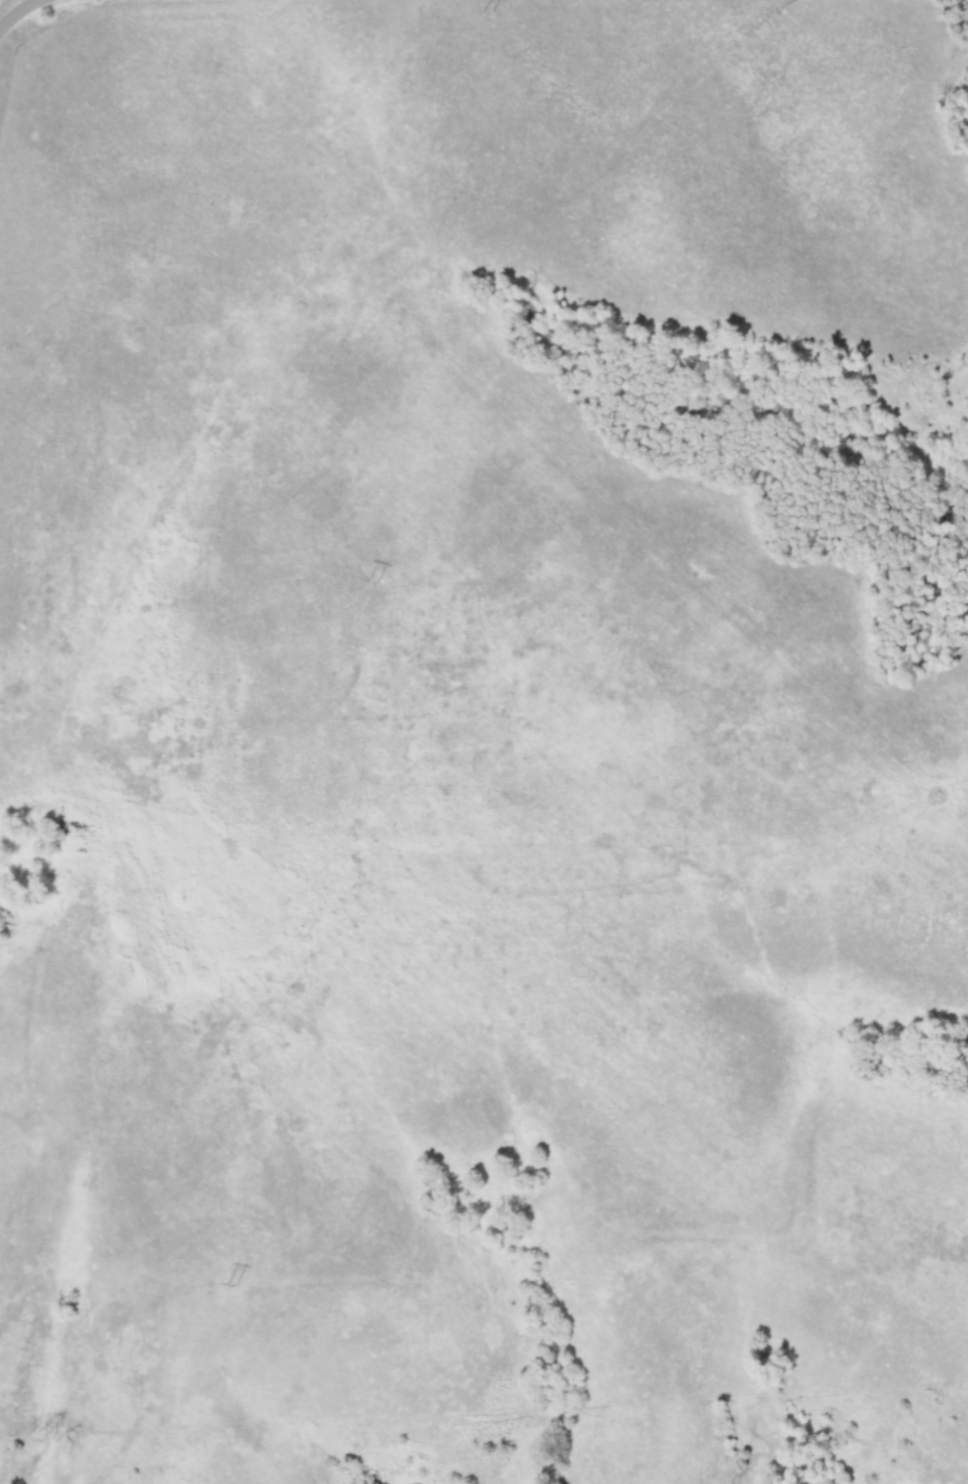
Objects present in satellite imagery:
power tower: (488, 11)
road: (32, 22)
power tower: (374, 579)
power tower: (301, 934)
power tower: (233, 1283)

